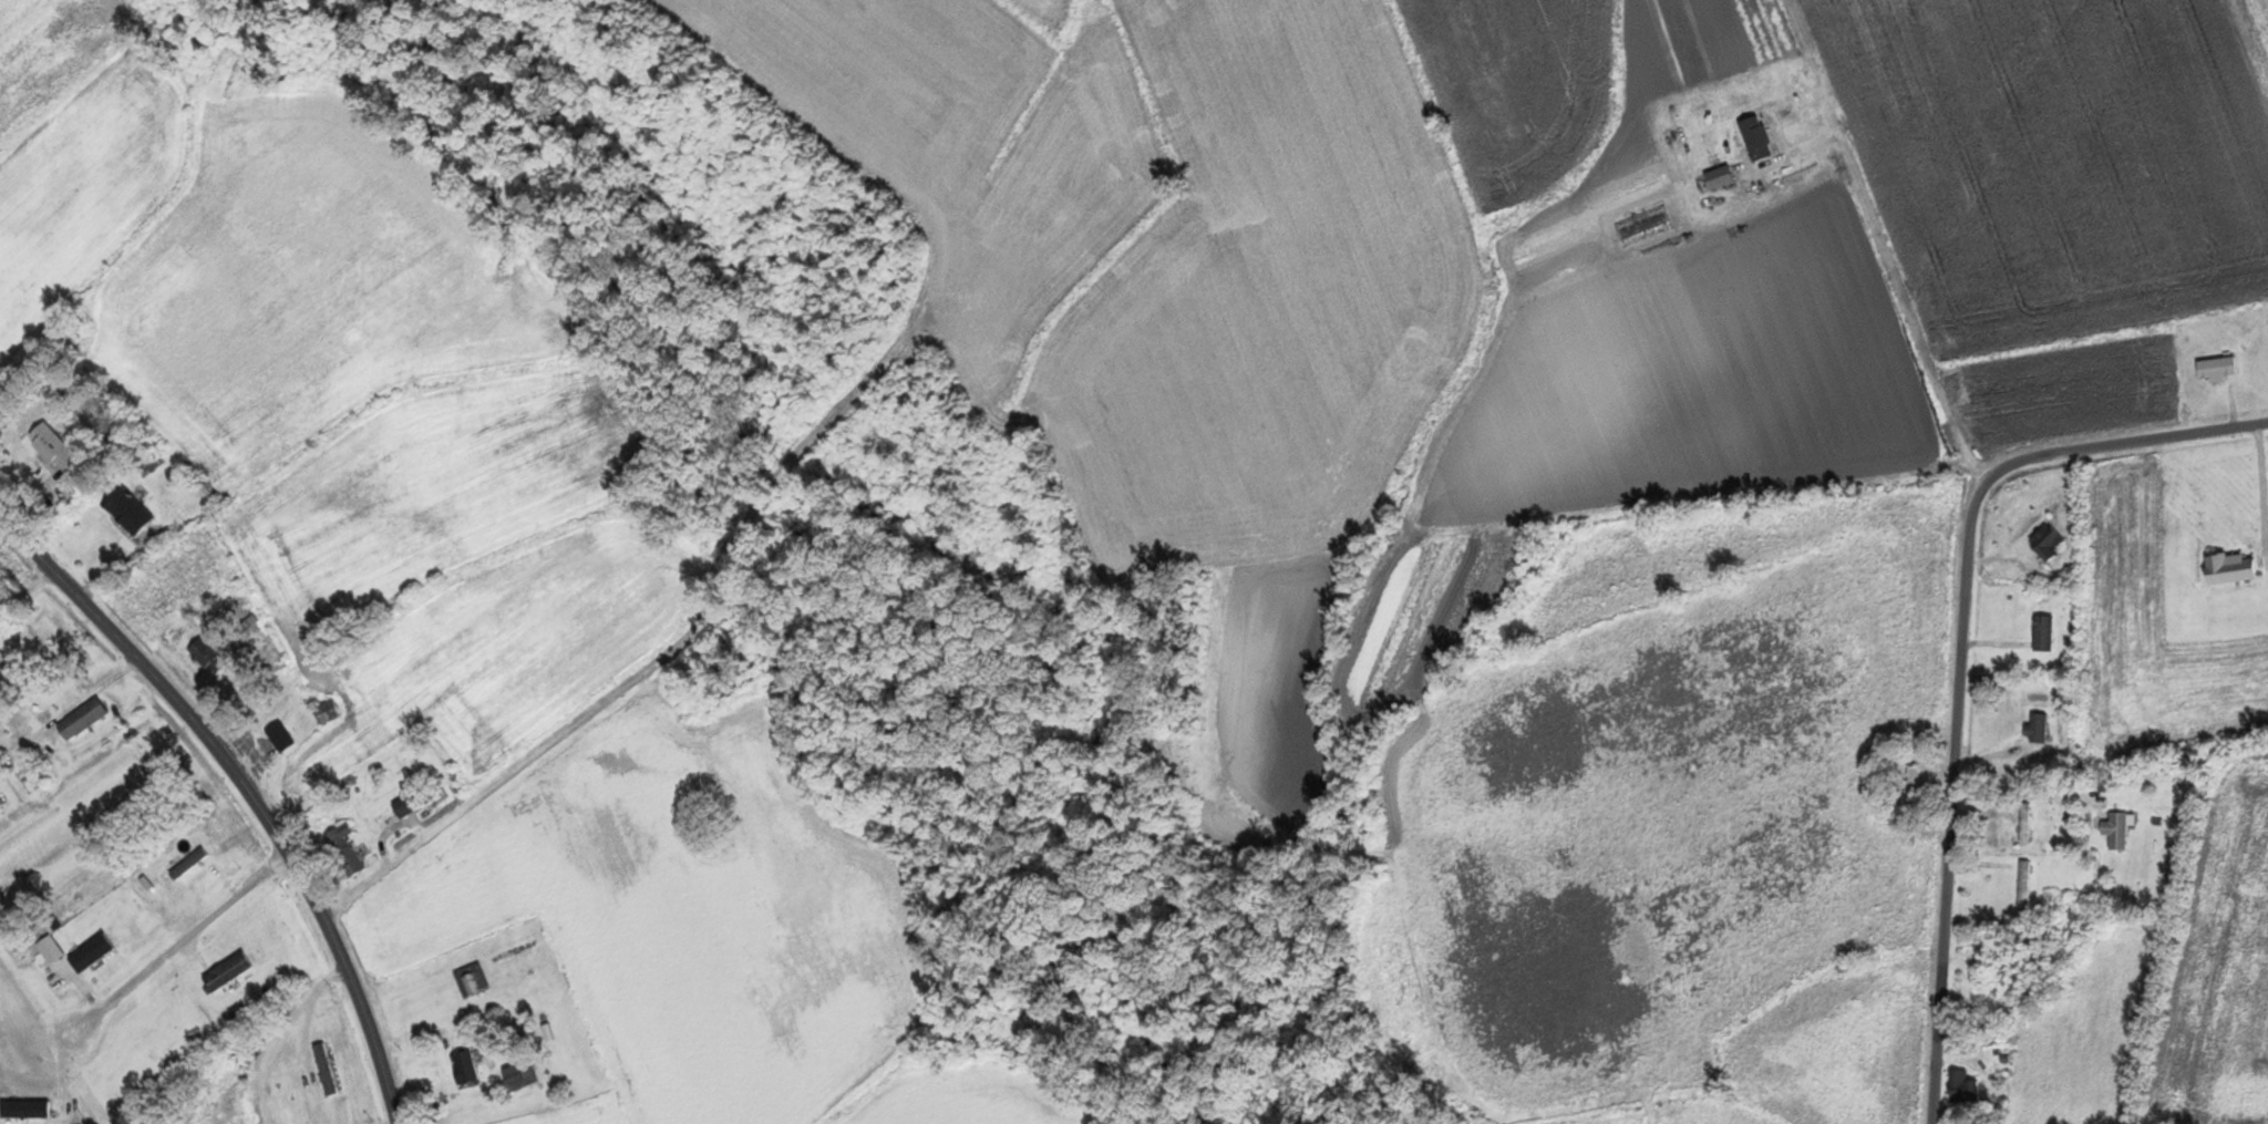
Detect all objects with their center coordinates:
building: (2215, 367)
building: (52, 448)
building: (124, 509)
building: (2045, 542)
building: (2228, 568)
building: (2042, 632)
road: (1962, 654)
building: (205, 656)
building: (324, 712)
building: (76, 719)
building: (2035, 728)
building: (278, 736)
building: (1911, 785)
road: (248, 787)
building: (405, 805)
building: (2022, 823)
building: (2116, 832)
building: (344, 850)
building: (2022, 884)
road: (542, 934)
building: (470, 980)
road: (267, 1030)
building: (463, 1068)
building: (324, 1074)
building: (516, 1075)
building: (1961, 1087)

